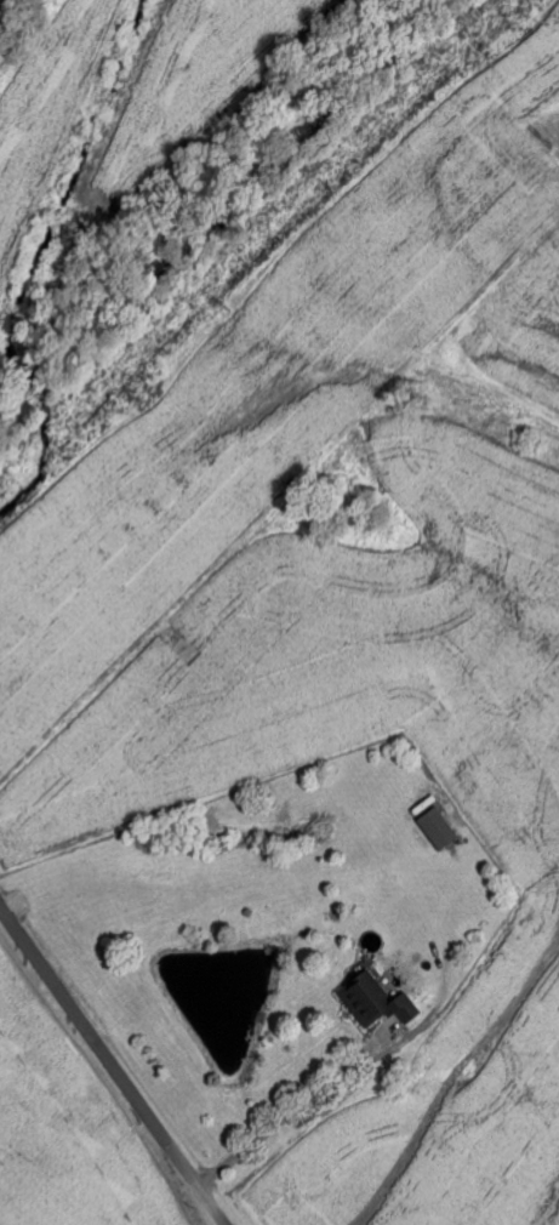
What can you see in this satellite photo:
building: (440, 830)
building: (376, 1002)
road: (113, 1065)

